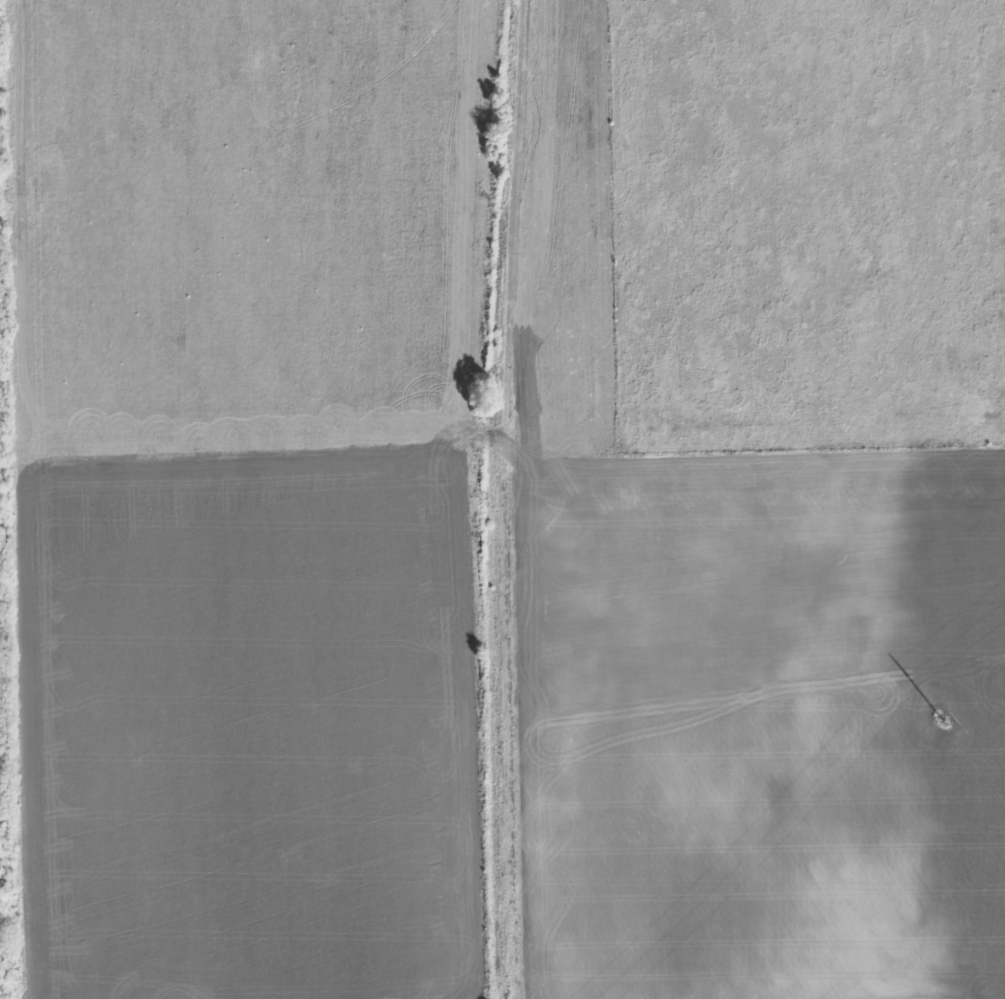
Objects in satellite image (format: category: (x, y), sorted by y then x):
power tower: (943, 718)

